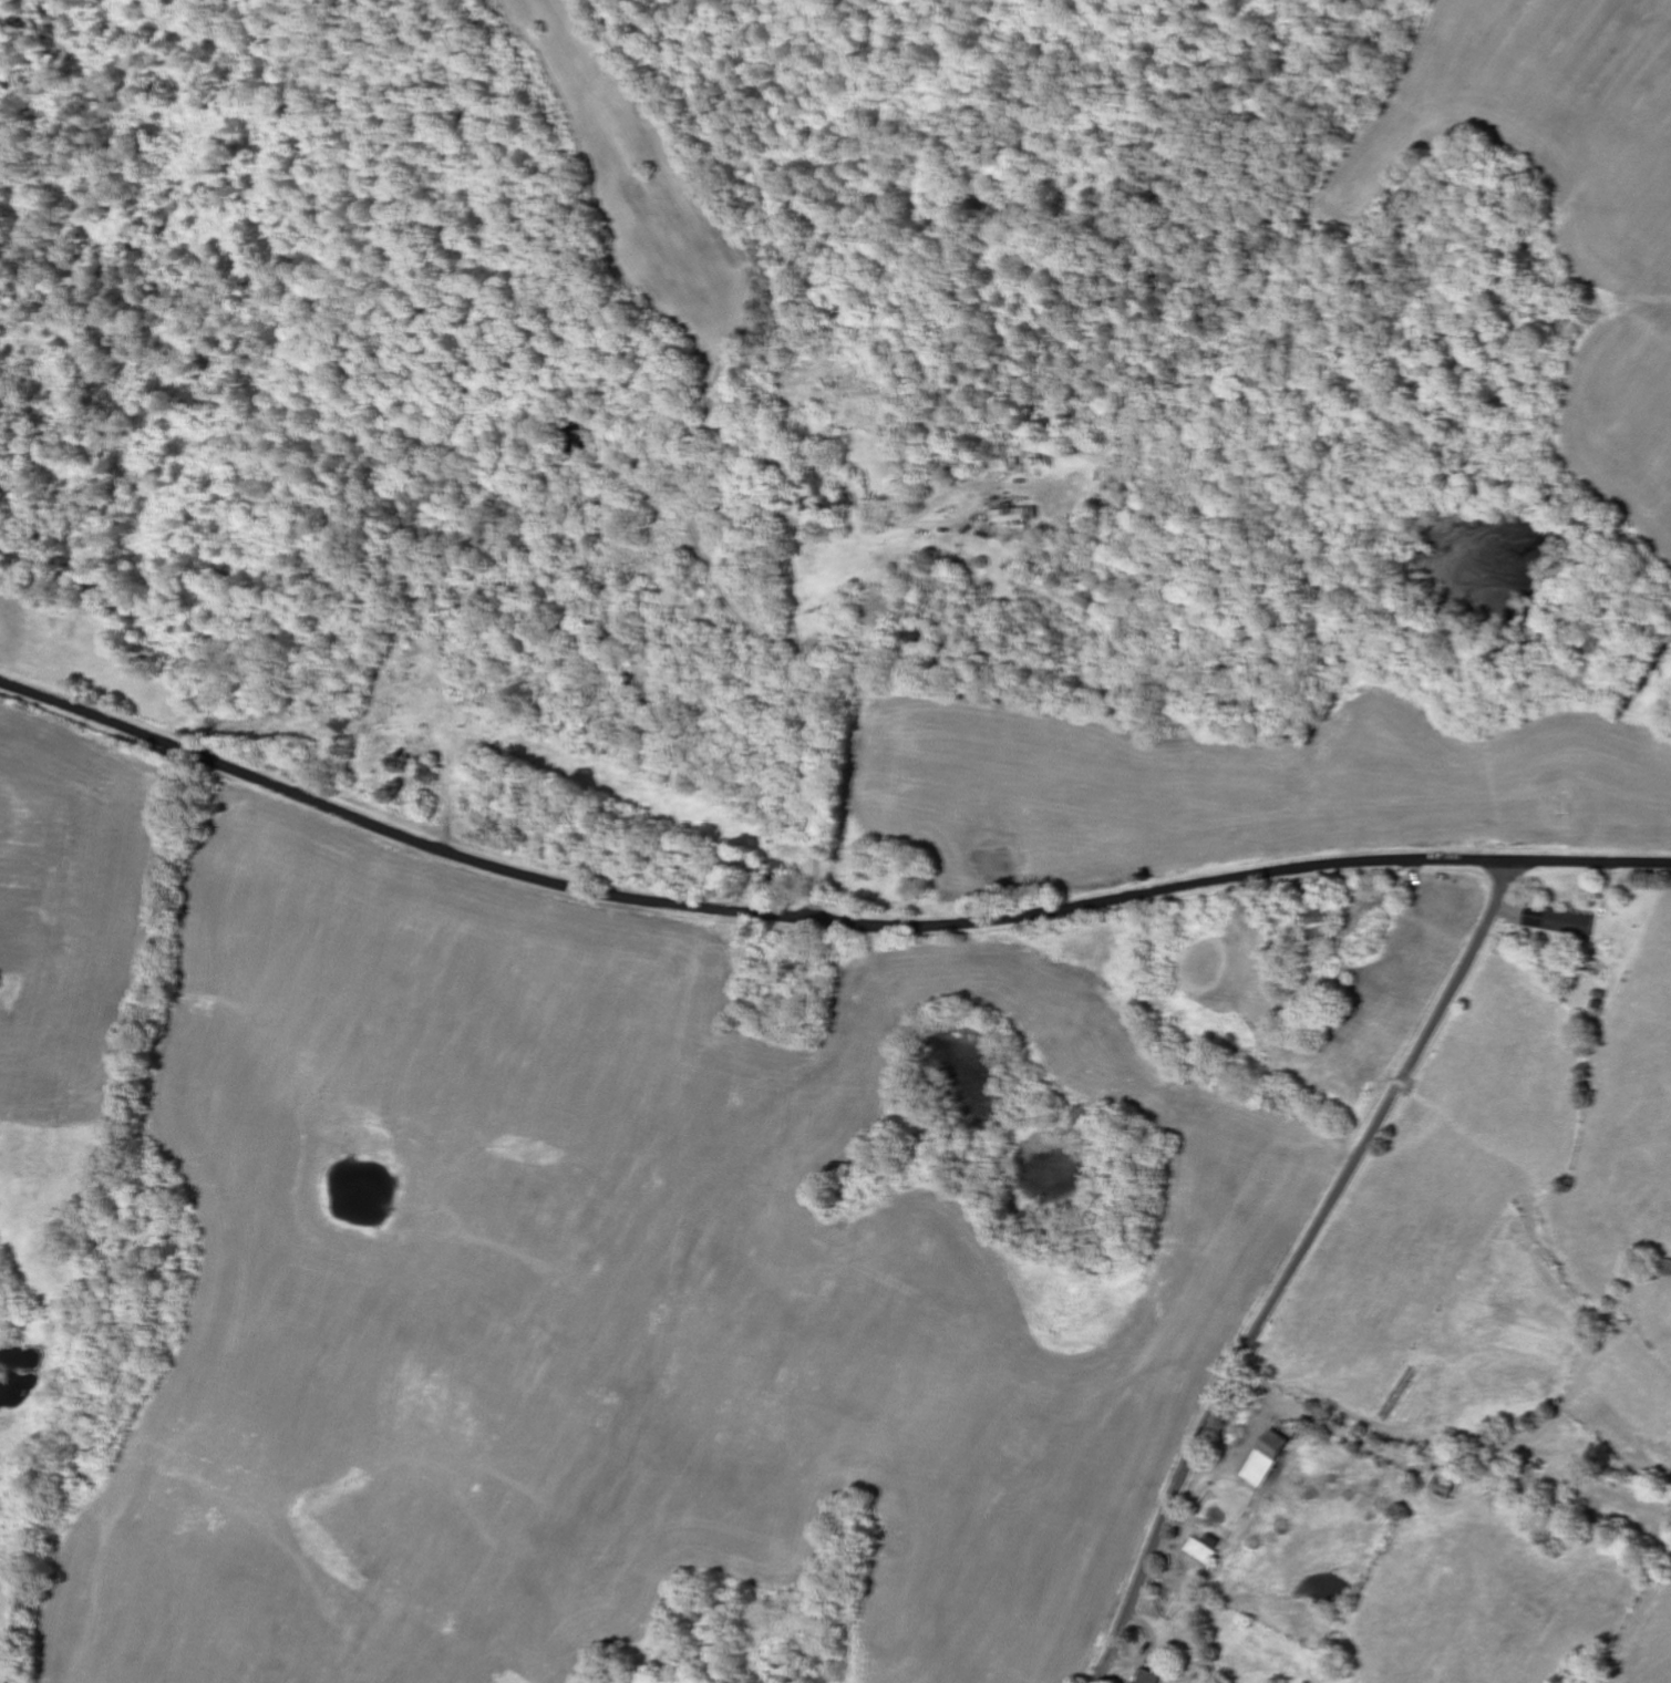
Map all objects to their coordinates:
building: (1018, 518)
road: (1361, 696)
road: (818, 919)
building: (1560, 923)
road: (1296, 1264)
building: (1267, 1460)
building: (1204, 1553)
building: (1151, 1677)

